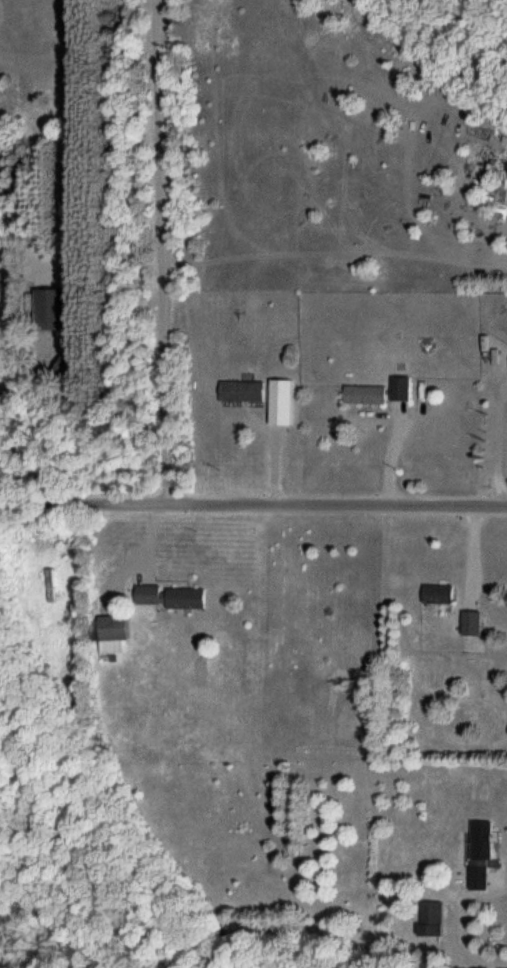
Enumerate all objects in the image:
road: (161, 252)
building: (49, 311)
building: (400, 388)
building: (242, 392)
building: (365, 395)
building: (281, 403)
road: (497, 446)
road: (391, 451)
road: (253, 505)
building: (438, 594)
building: (150, 596)
building: (185, 599)
building: (471, 623)
building: (113, 628)
building: (480, 856)
building: (431, 919)
road: (459, 925)

